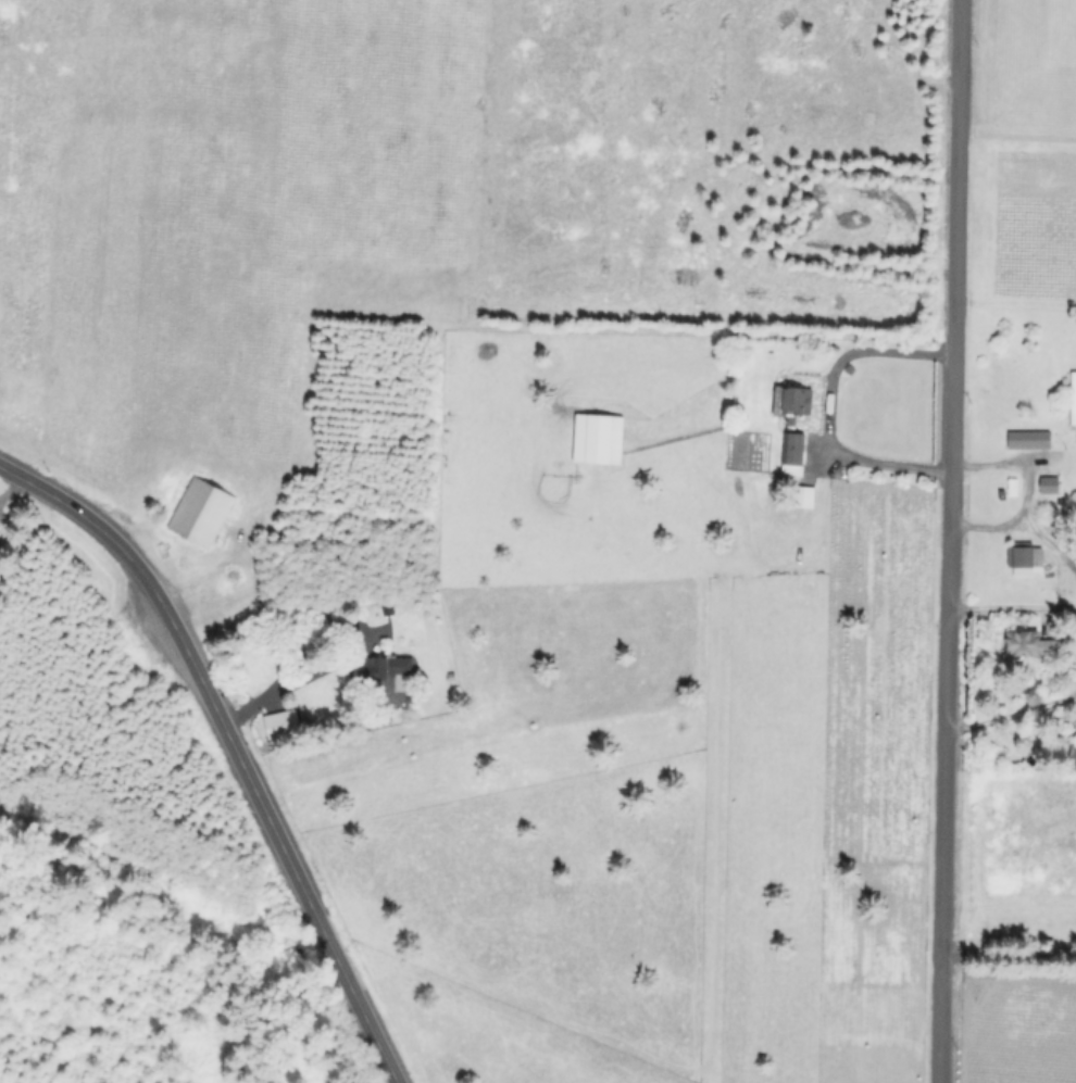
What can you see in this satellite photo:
road: (1016, 301)
building: (1074, 399)
road: (827, 403)
building: (791, 427)
building: (599, 439)
building: (1029, 440)
building: (1050, 484)
road: (1026, 487)
building: (803, 496)
building: (199, 508)
road: (951, 541)
building: (1024, 556)
road: (1012, 608)
building: (388, 609)
building: (1025, 643)
building: (379, 667)
road: (292, 676)
building: (284, 716)
road: (1013, 716)
building: (280, 728)
road: (234, 745)
building: (1074, 752)
road: (1010, 949)

